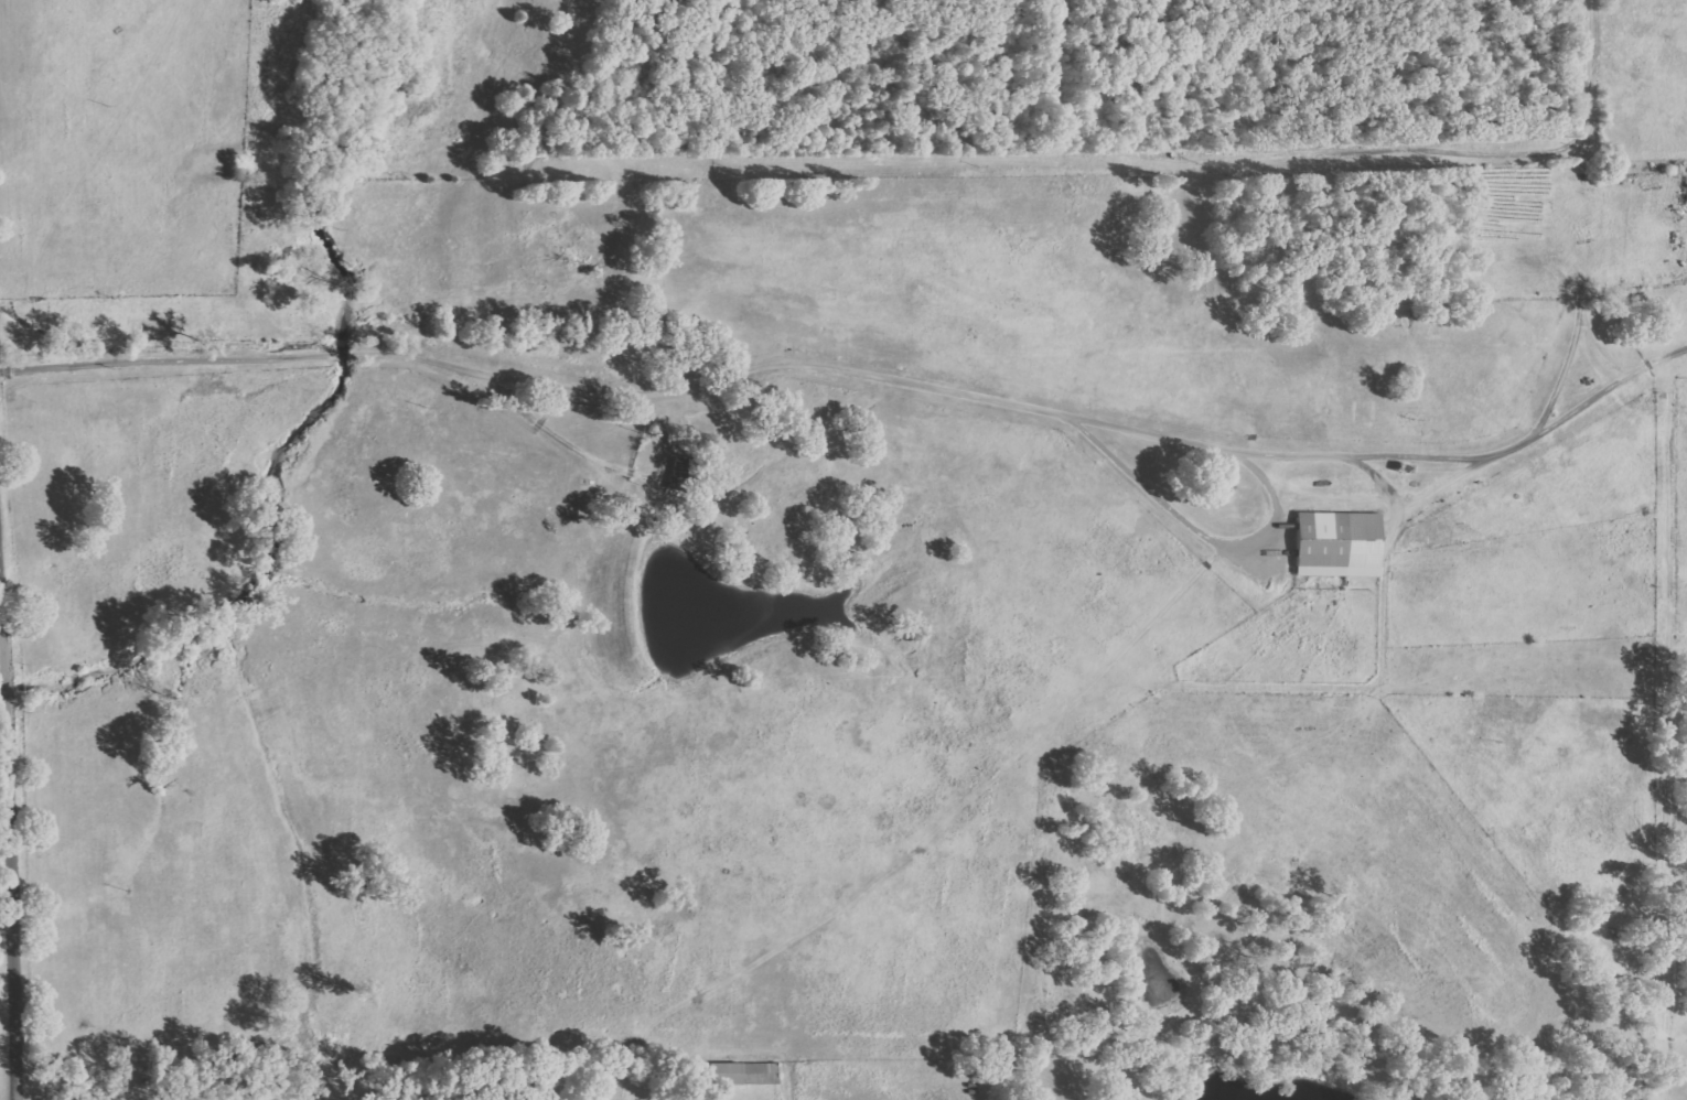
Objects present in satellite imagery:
road: (903, 4)
road: (1310, 4)
road: (831, 13)
road: (906, 20)
road: (836, 32)
road: (1161, 40)
road: (787, 42)
road: (889, 46)
road: (1236, 51)
road: (1278, 64)
park: (1057, 84)
theme park: (1057, 84)
road: (1212, 98)
road: (1132, 110)
road: (1311, 158)
road: (903, 163)
road: (544, 376)
road: (1285, 519)
building: (1341, 544)
road: (19, 784)
building: (745, 1074)

